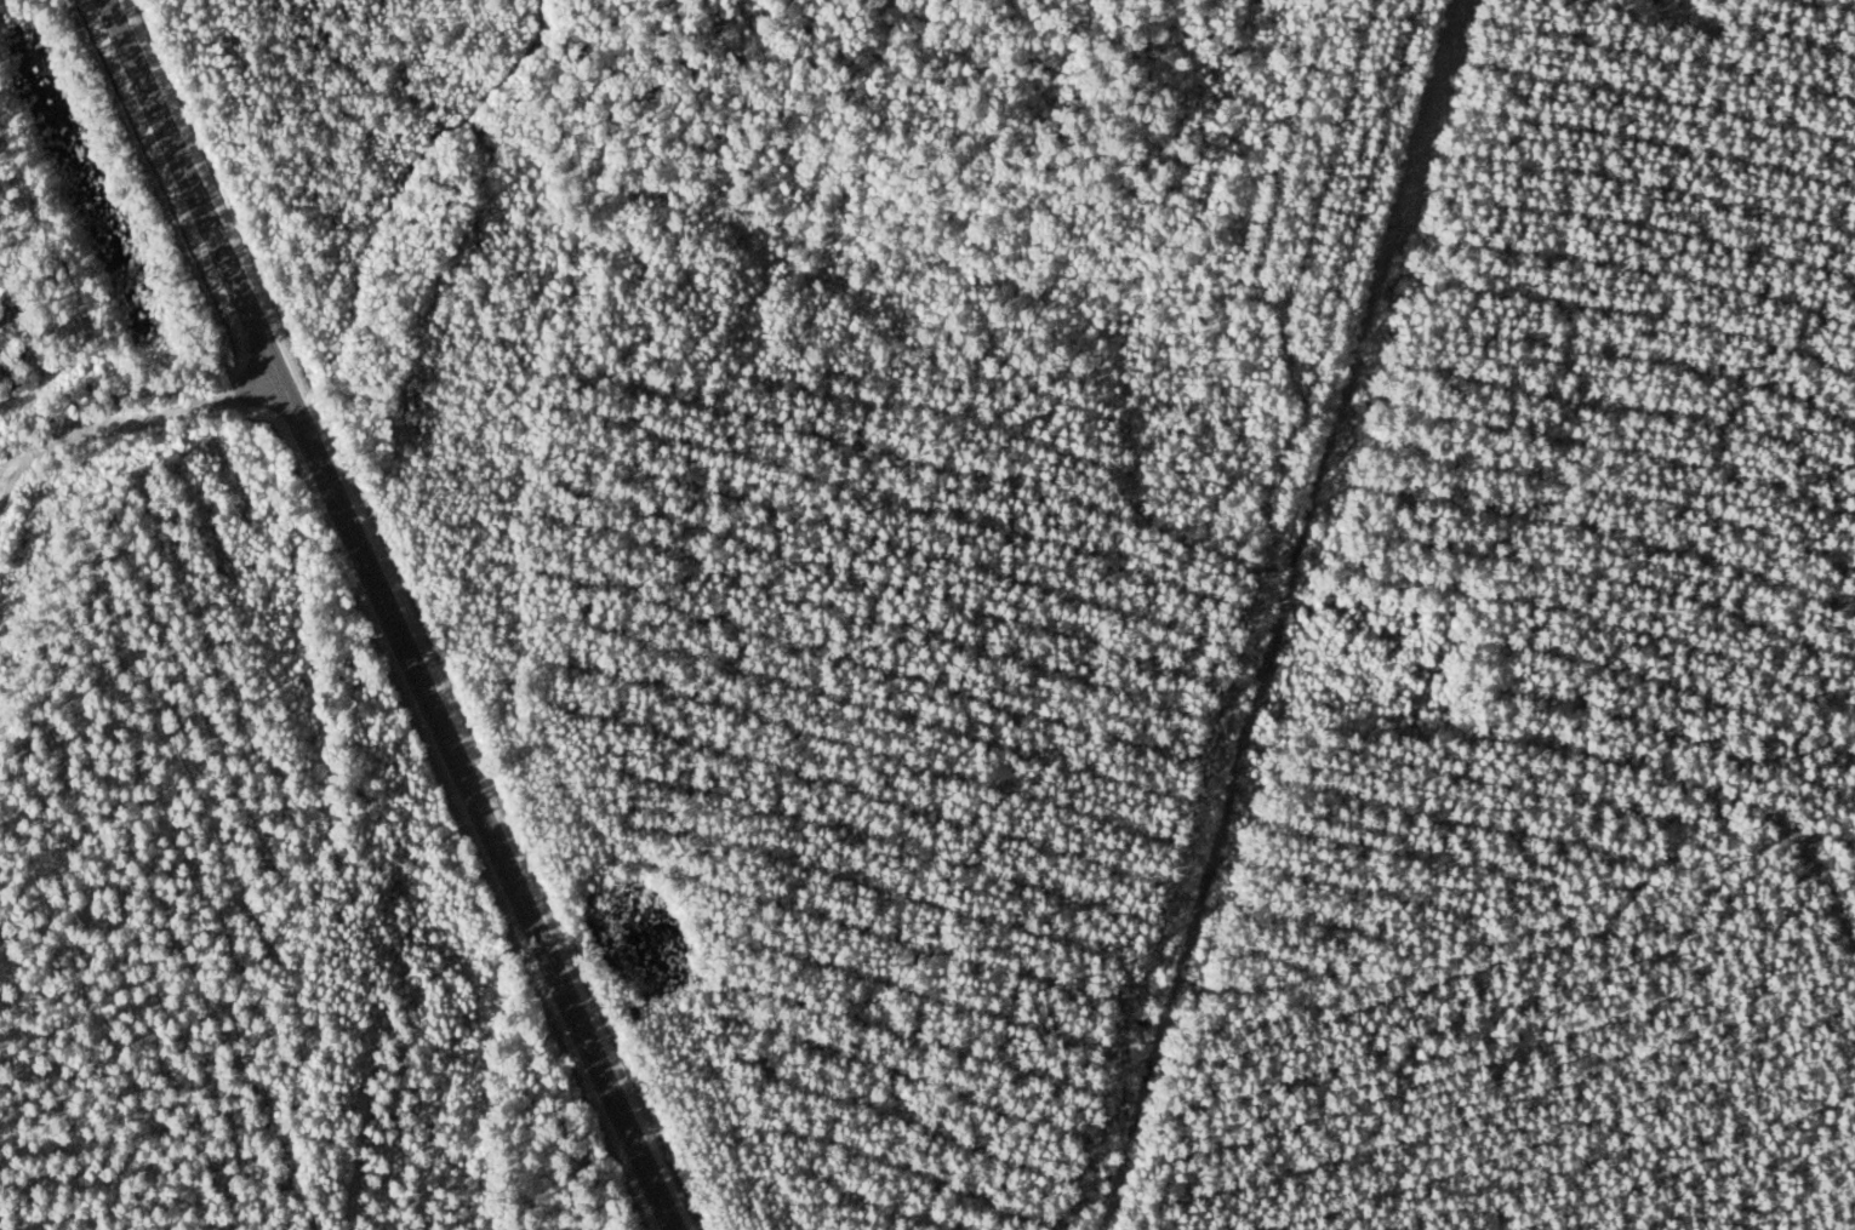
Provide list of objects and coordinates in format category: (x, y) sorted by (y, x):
road: (127, 419)
road: (383, 617)

